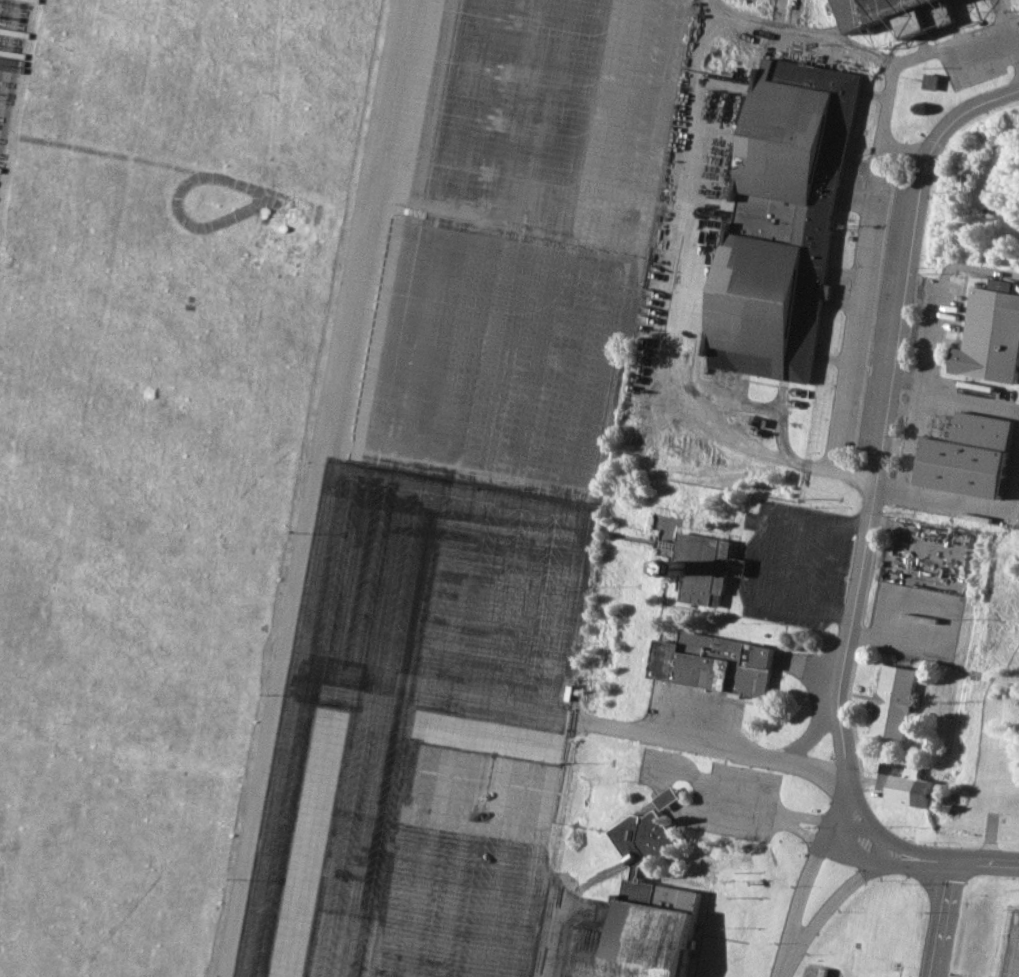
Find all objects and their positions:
road: (708, 10)
road: (1008, 12)
airport hangar: (903, 13)
building: (903, 13)
road: (790, 27)
road: (1016, 33)
road: (955, 43)
building: (938, 80)
airport hangar: (788, 219)
building: (788, 219)
road: (938, 299)
road: (857, 308)
building: (991, 333)
road: (954, 395)
road: (706, 422)
road: (912, 442)
building: (966, 454)
road: (875, 462)
road: (964, 506)
parking lot: (791, 563)
building: (701, 566)
parking lot: (915, 588)
building: (711, 662)
road: (806, 665)
building: (890, 700)
road: (813, 732)
road: (713, 749)
building: (901, 784)
road: (717, 791)
parking lot: (717, 796)
building: (665, 798)
road: (787, 817)
road: (835, 827)
road: (959, 860)
road: (800, 895)
road: (838, 898)
airport hangar: (646, 906)
building: (646, 906)
road: (935, 918)
road: (542, 938)
road: (789, 962)
parking lot: (814, 973)

